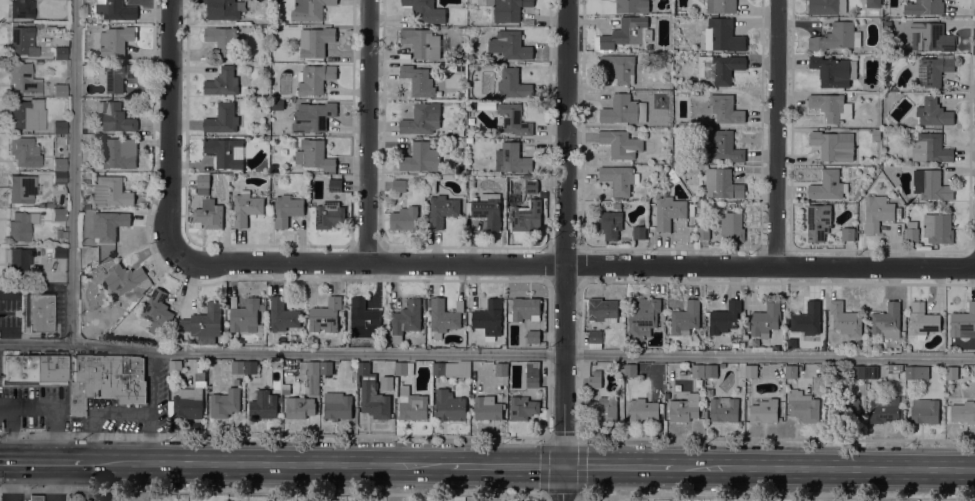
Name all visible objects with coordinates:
building: (275, 1)
building: (873, 3)
building: (632, 6)
building: (721, 6)
building: (827, 7)
building: (924, 7)
building: (21, 9)
building: (115, 9)
building: (224, 9)
building: (508, 9)
building: (309, 10)
building: (426, 11)
building: (61, 17)
building: (275, 28)
building: (266, 29)
building: (626, 32)
building: (723, 36)
building: (836, 36)
building: (932, 37)
building: (22, 39)
building: (222, 39)
building: (116, 40)
building: (316, 41)
building: (422, 42)
building: (510, 45)
building: (60, 53)
building: (619, 67)
building: (719, 67)
building: (934, 68)
building: (834, 71)
building: (111, 75)
building: (314, 78)
building: (23, 79)
building: (418, 80)
building: (222, 82)
building: (513, 84)
building: (59, 90)
building: (680, 94)
building: (277, 104)
building: (490, 106)
building: (831, 106)
building: (726, 108)
building: (623, 109)
building: (933, 112)
building: (26, 114)
building: (115, 116)
building: (312, 116)
building: (223, 118)
building: (422, 119)
building: (512, 119)
building: (689, 122)
building: (59, 127)
road: (170, 131)
road: (367, 132)
road: (778, 133)
building: (876, 134)
building: (621, 143)
building: (833, 145)
building: (723, 146)
building: (931, 148)
building: (24, 151)
building: (119, 152)
building: (224, 152)
building: (314, 155)
building: (421, 158)
building: (513, 158)
building: (59, 164)
road: (72, 172)
building: (58, 177)
building: (672, 177)
building: (618, 179)
building: (335, 184)
building: (531, 184)
building: (722, 184)
building: (930, 184)
building: (399, 185)
building: (828, 185)
building: (21, 189)
building: (111, 191)
building: (49, 205)
building: (207, 205)
building: (86, 206)
building: (246, 207)
building: (286, 209)
building: (442, 209)
building: (486, 209)
building: (669, 211)
building: (877, 212)
building: (58, 214)
building: (329, 214)
building: (526, 215)
building: (404, 218)
building: (818, 221)
building: (610, 224)
building: (108, 225)
building: (20, 226)
building: (732, 227)
building: (938, 228)
building: (639, 232)
building: (703, 232)
building: (60, 233)
building: (848, 233)
building: (912, 234)
building: (48, 248)
road: (567, 250)
building: (58, 251)
building: (17, 263)
road: (575, 265)
building: (126, 278)
building: (130, 297)
building: (525, 309)
building: (602, 310)
building: (157, 311)
building: (37, 312)
building: (117, 312)
building: (282, 315)
building: (325, 315)
building: (245, 316)
building: (444, 316)
building: (642, 317)
building: (725, 317)
building: (363, 318)
building: (489, 318)
building: (685, 318)
building: (845, 318)
building: (406, 319)
building: (765, 319)
building: (807, 319)
building: (923, 320)
building: (887, 321)
building: (963, 321)
building: (205, 324)
building: (533, 336)
building: (595, 339)
building: (791, 342)
building: (859, 343)
road: (487, 354)
building: (238, 366)
building: (175, 367)
building: (251, 367)
building: (326, 367)
building: (894, 367)
building: (33, 368)
building: (404, 368)
building: (501, 368)
building: (452, 369)
building: (631, 370)
building: (698, 370)
building: (711, 370)
building: (751, 370)
building: (597, 371)
building: (791, 371)
building: (858, 371)
building: (871, 371)
building: (917, 372)
building: (952, 372)
building: (532, 374)
building: (313, 377)
building: (106, 379)
building: (387, 382)
building: (594, 382)
building: (286, 387)
building: (372, 394)
building: (191, 397)
building: (225, 401)
building: (263, 404)
building: (412, 404)
building: (337, 405)
building: (450, 405)
road: (151, 406)
building: (299, 407)
building: (523, 407)
building: (803, 407)
building: (488, 408)
building: (604, 408)
building: (685, 408)
building: (724, 408)
building: (884, 408)
building: (642, 409)
building: (845, 409)
road: (52, 410)
building: (764, 410)
building: (924, 410)
building: (963, 412)
road: (99, 415)
road: (9, 434)
road: (272, 435)
road: (579, 437)
road: (777, 438)
road: (43, 462)
road: (269, 463)
road: (507, 465)
traffic signals: (563, 466)
road: (618, 466)
road: (824, 469)
road: (272, 491)
road: (776, 496)
building: (33, 498)
gas station: (33, 498)

